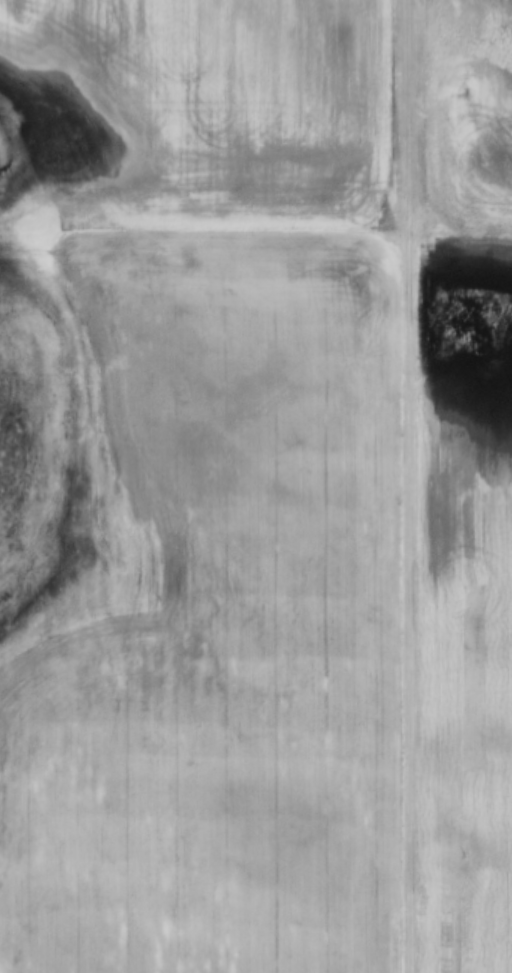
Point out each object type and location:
road: (408, 486)

